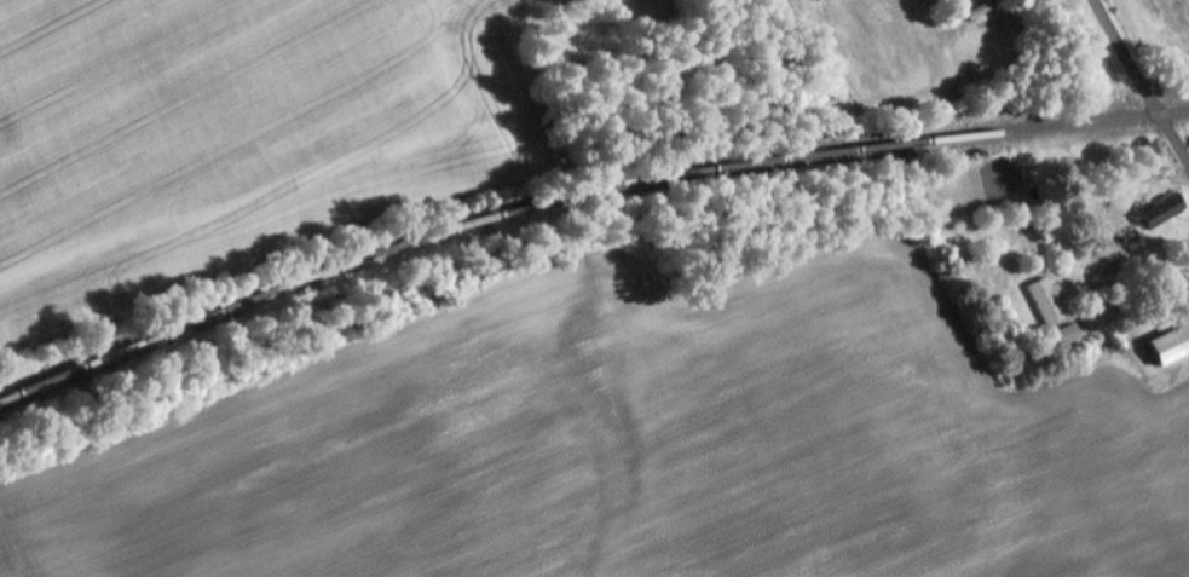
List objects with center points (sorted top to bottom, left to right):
road: (1141, 80)
railway: (578, 192)
building: (1164, 212)
building: (1051, 300)
building: (1172, 346)

